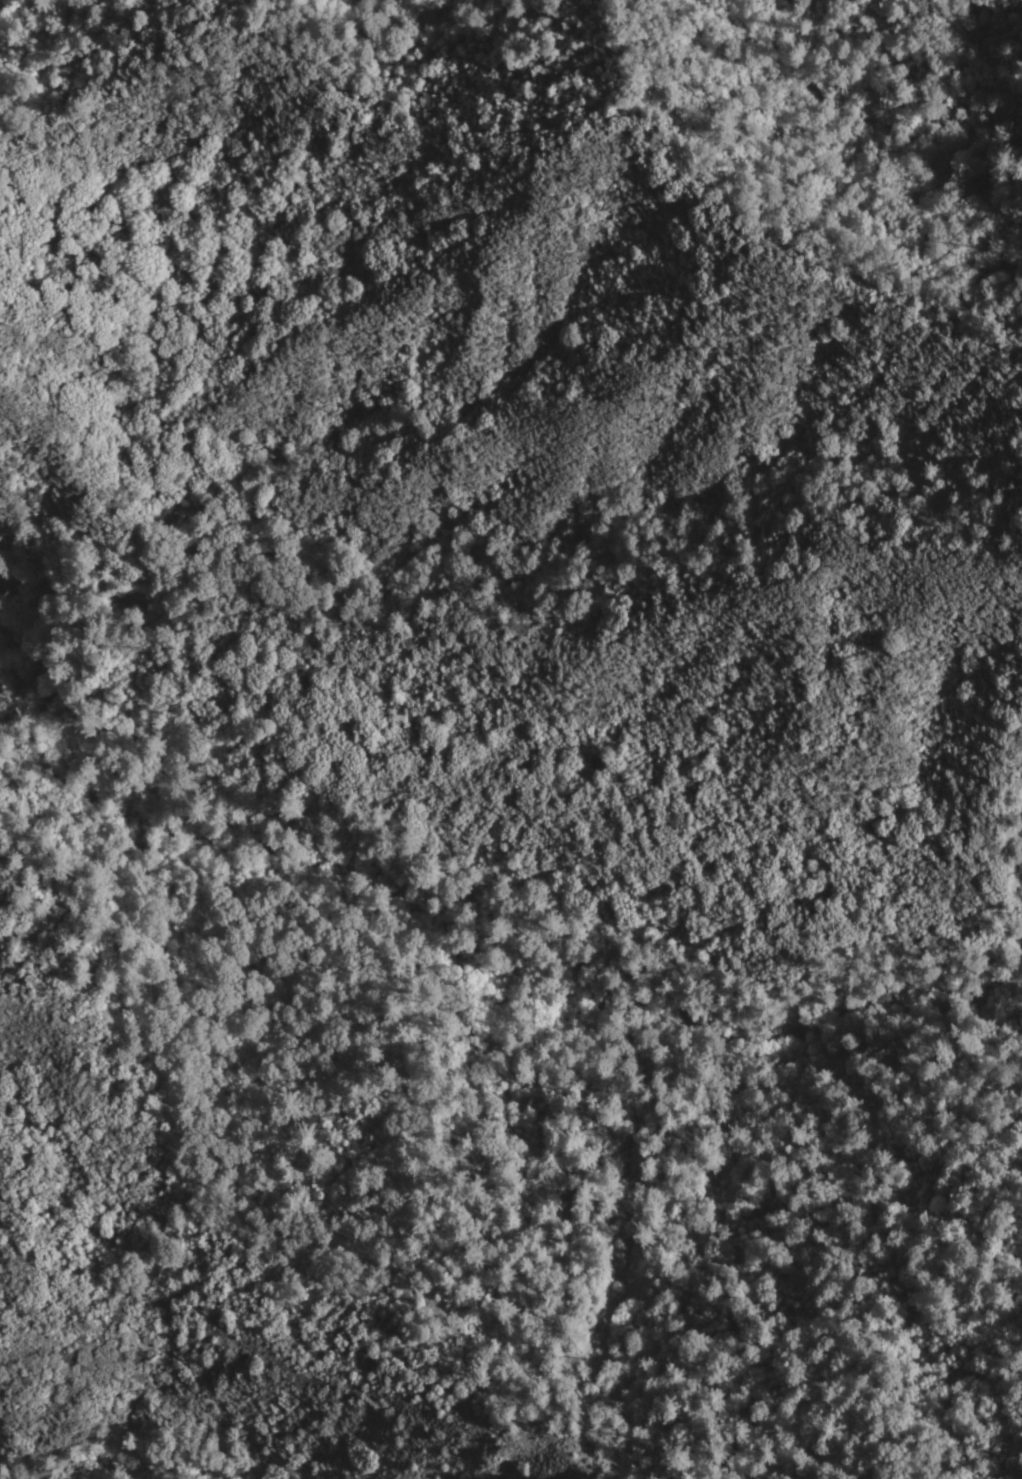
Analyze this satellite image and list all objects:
road: (168, 1350)

